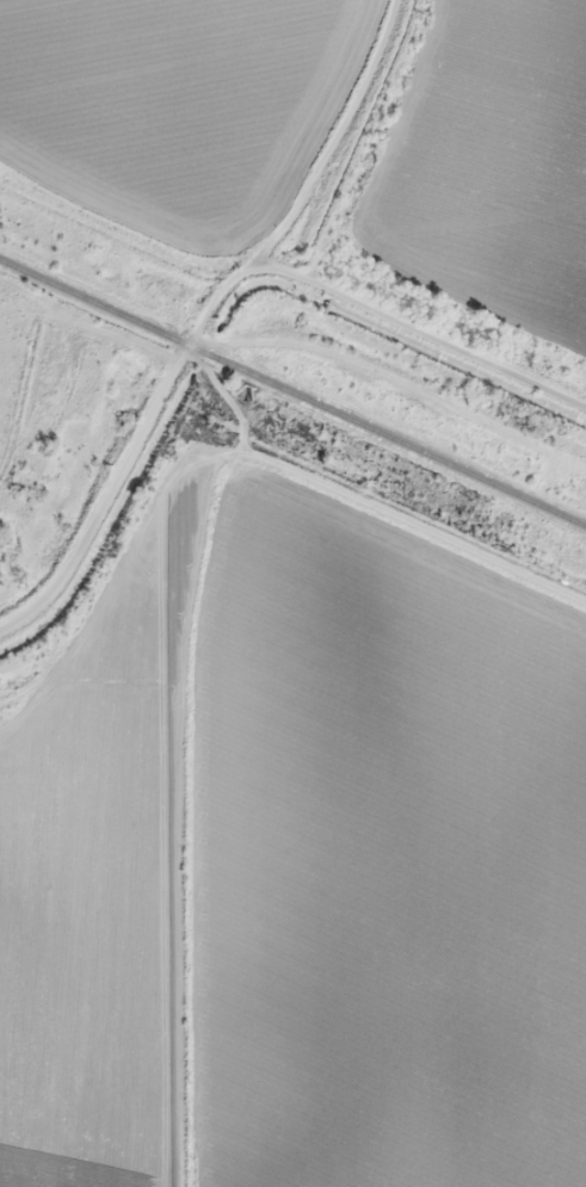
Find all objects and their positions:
railway: (292, 392)

